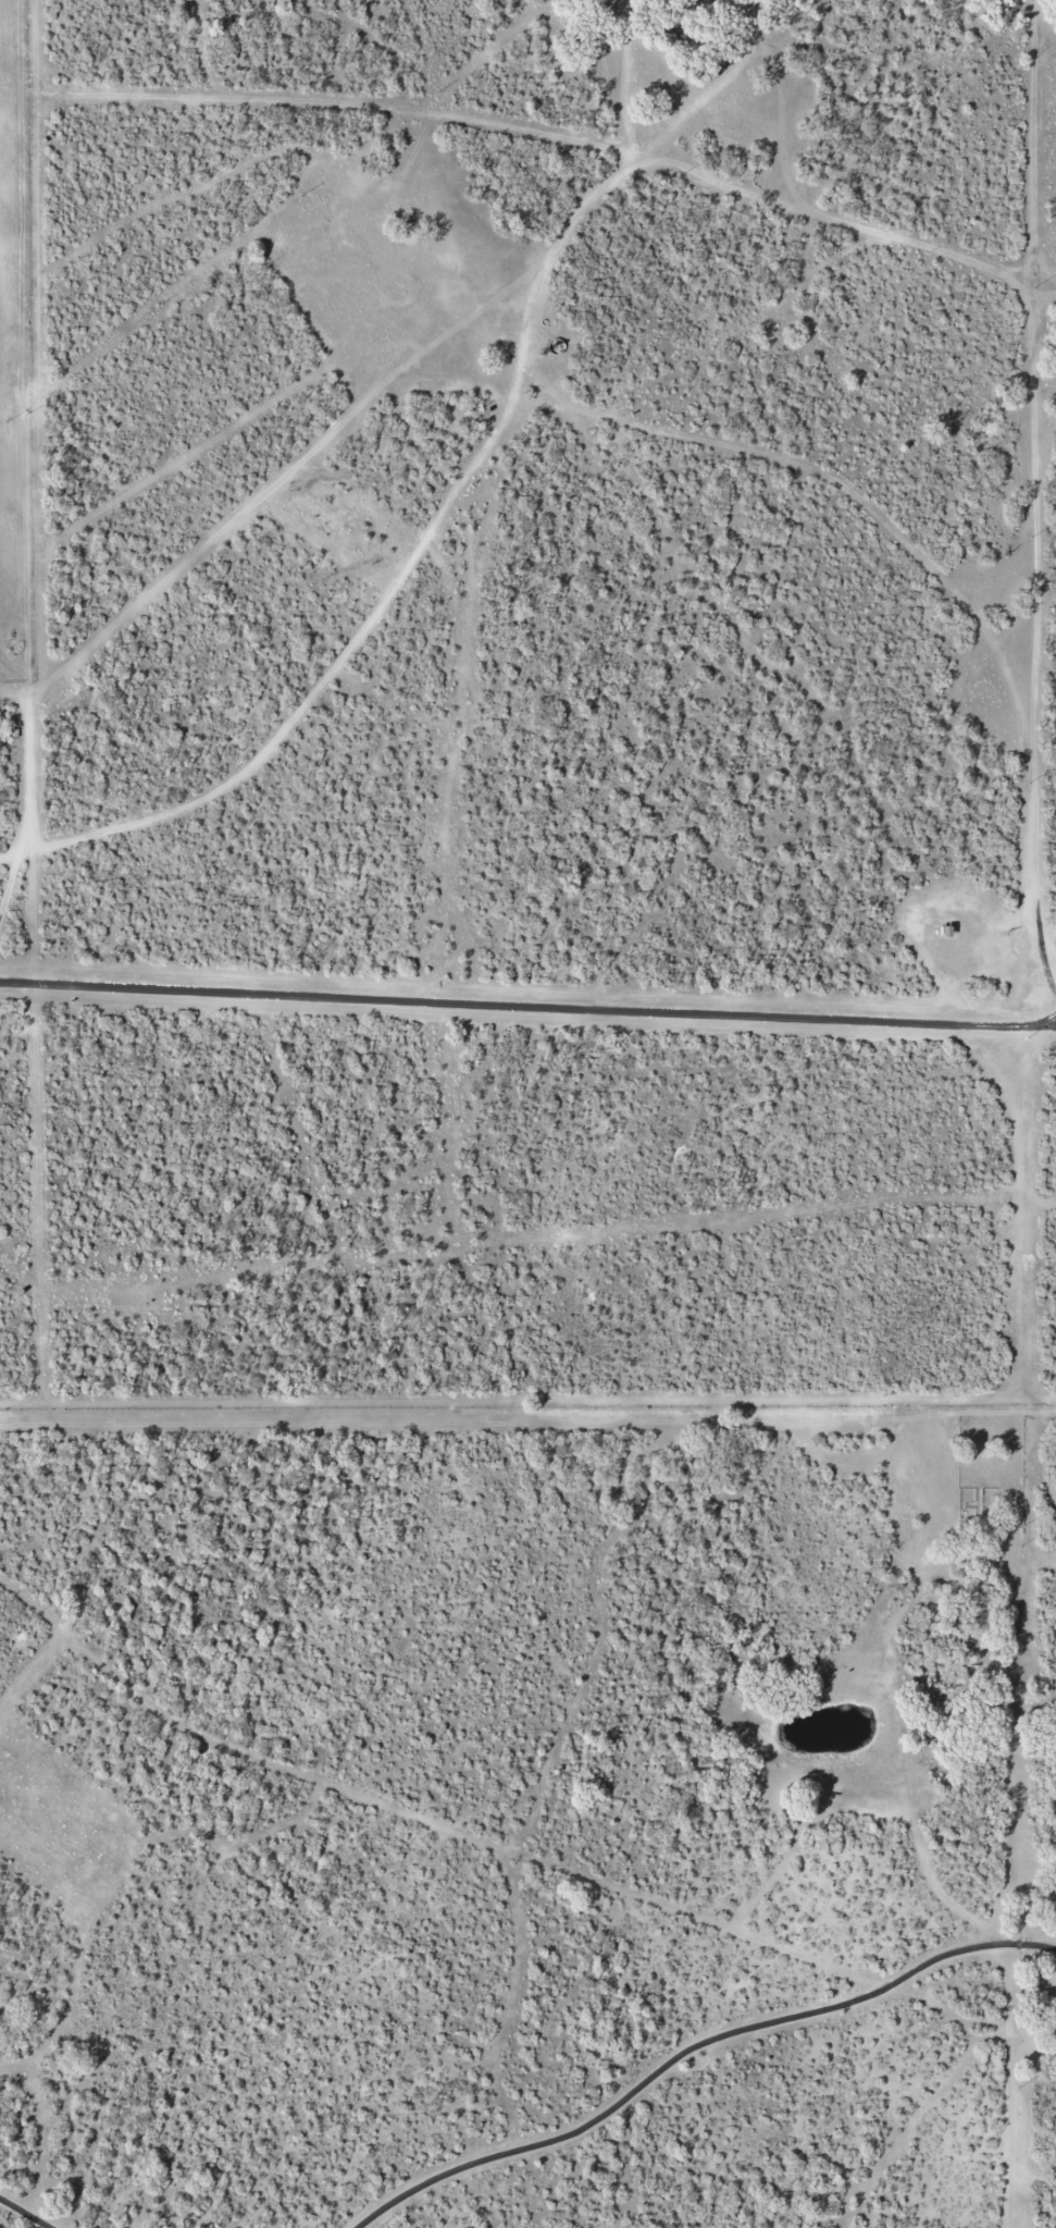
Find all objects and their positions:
road: (549, 257)
road: (596, 417)
building: (948, 932)
road: (529, 1004)
road: (693, 2049)
road: (24, 2213)

